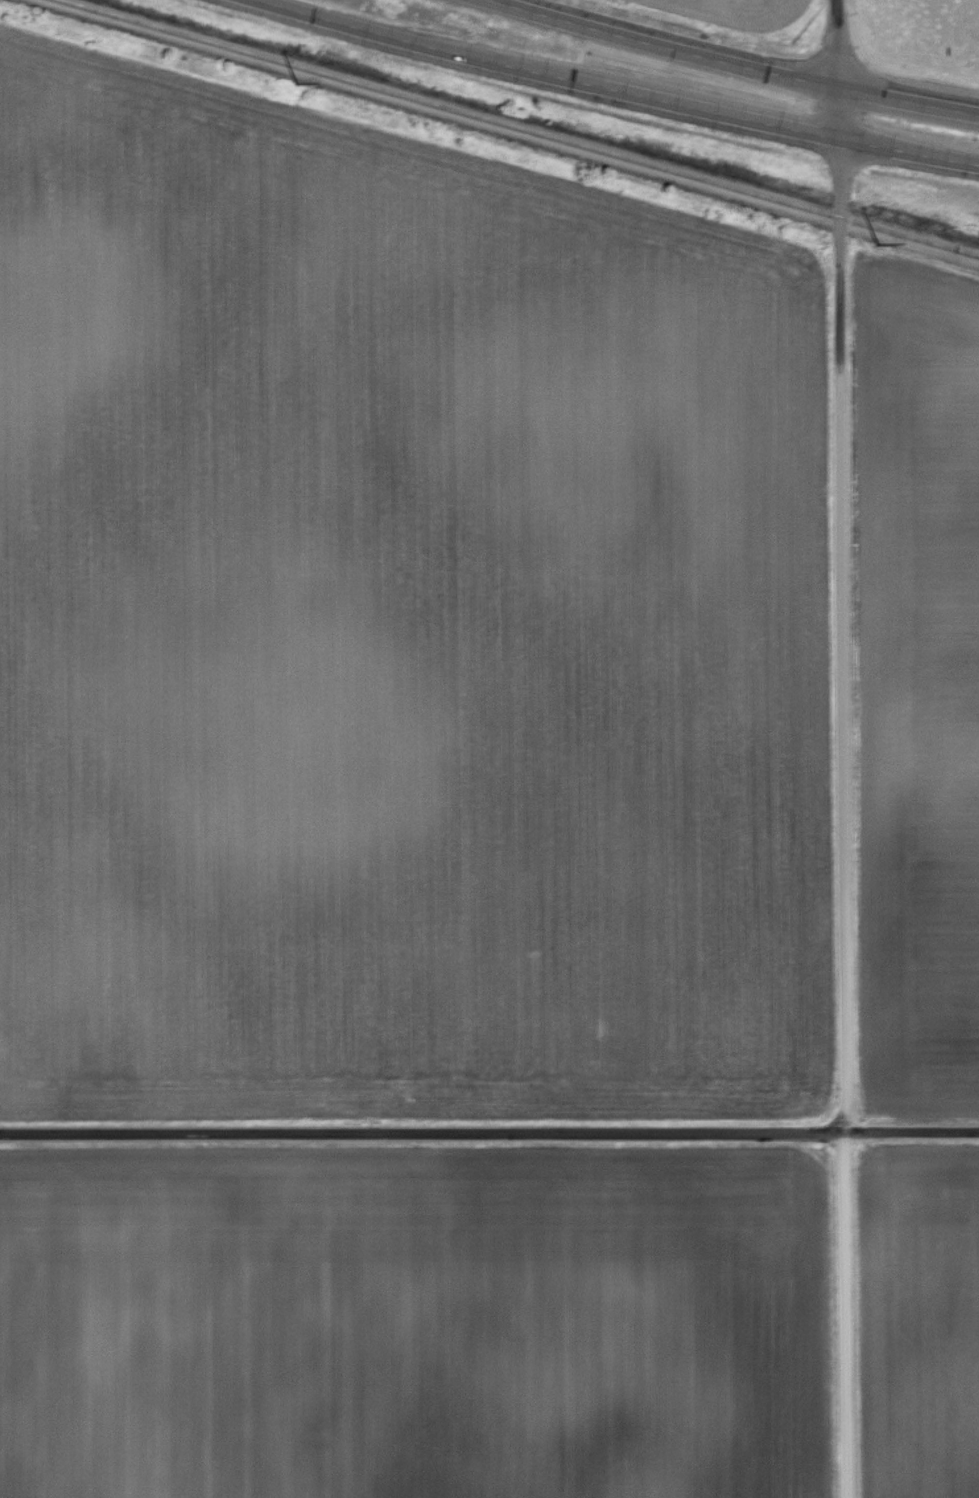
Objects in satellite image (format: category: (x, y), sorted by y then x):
road: (734, 63)
power tower: (296, 83)
road: (603, 88)
railway: (489, 131)
power tower: (876, 243)
road: (842, 567)
road: (912, 1134)
road: (422, 1135)
road: (846, 1316)

